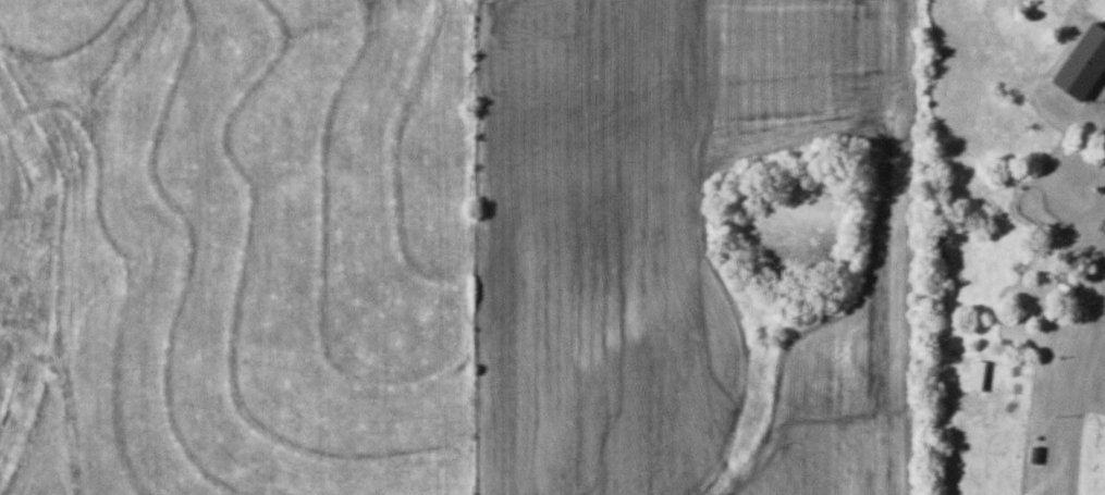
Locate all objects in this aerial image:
building: (1082, 62)
building: (1082, 187)
road: (1096, 215)
building: (1006, 233)
building: (1067, 284)

